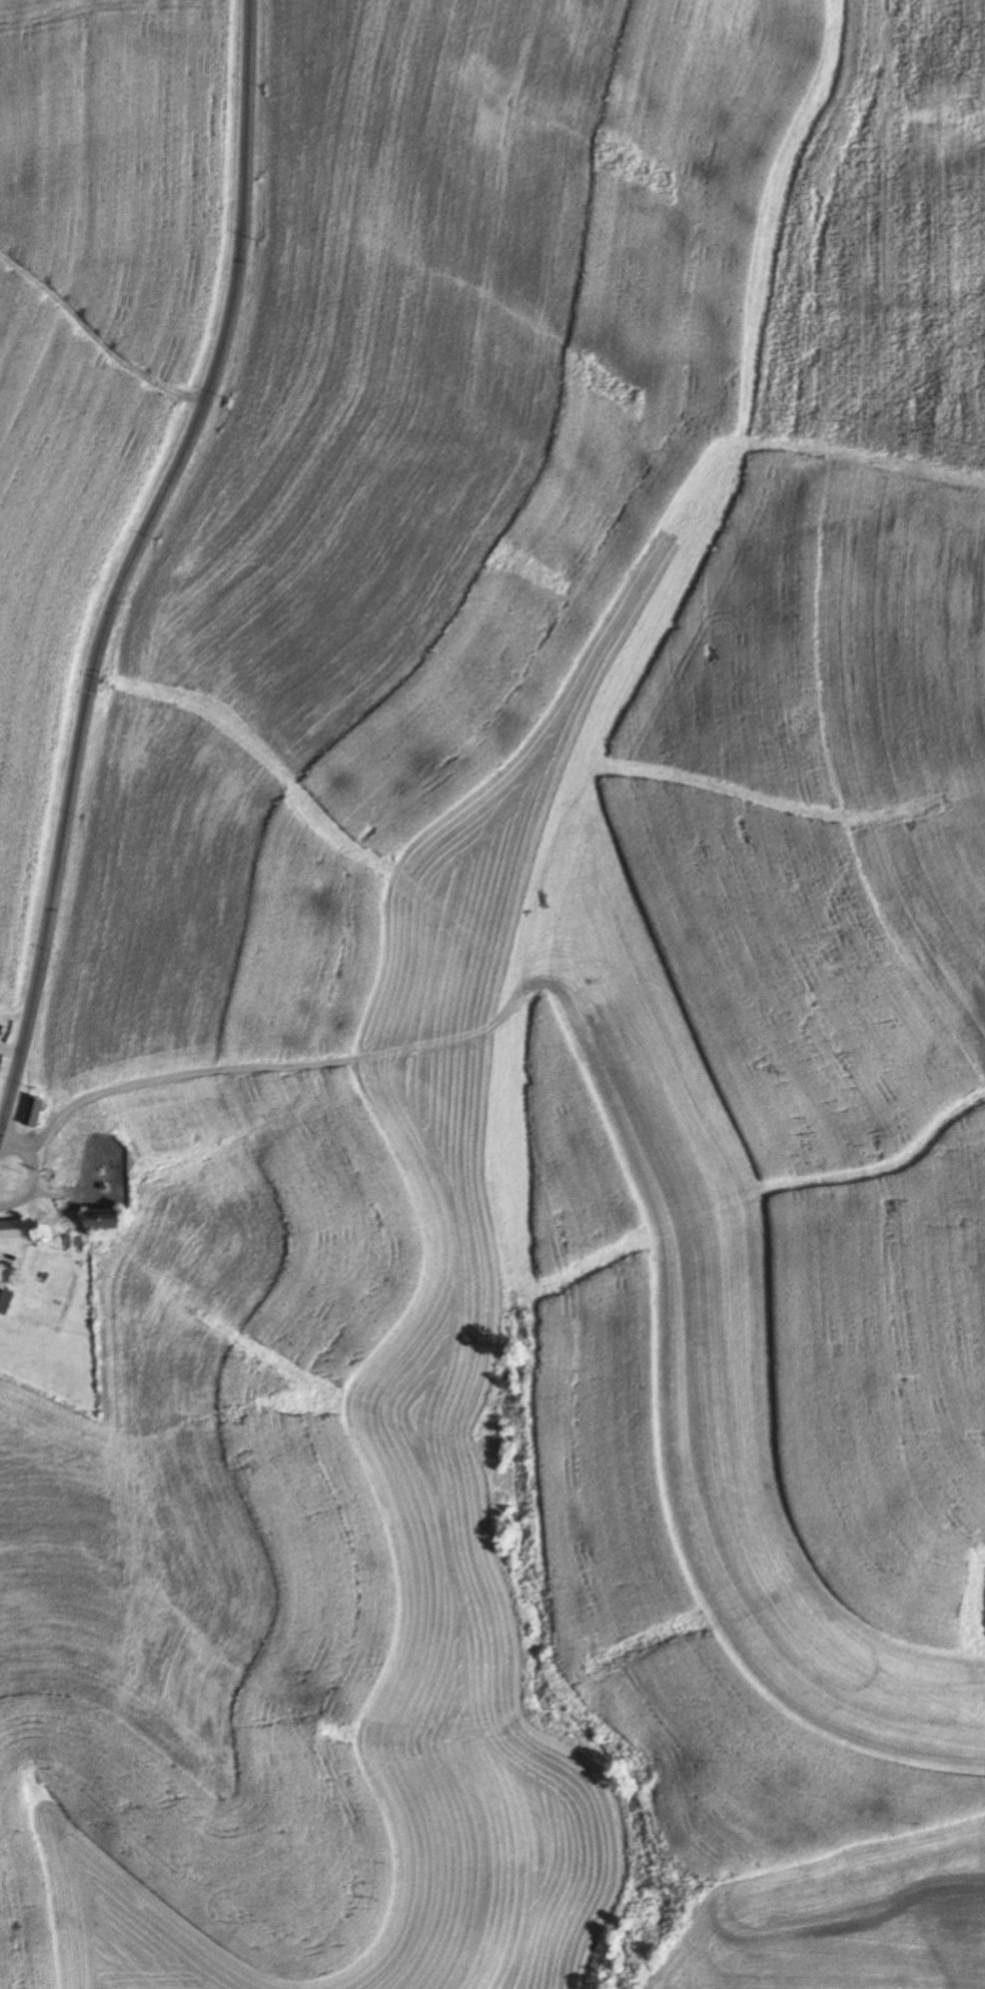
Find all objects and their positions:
road: (132, 564)

